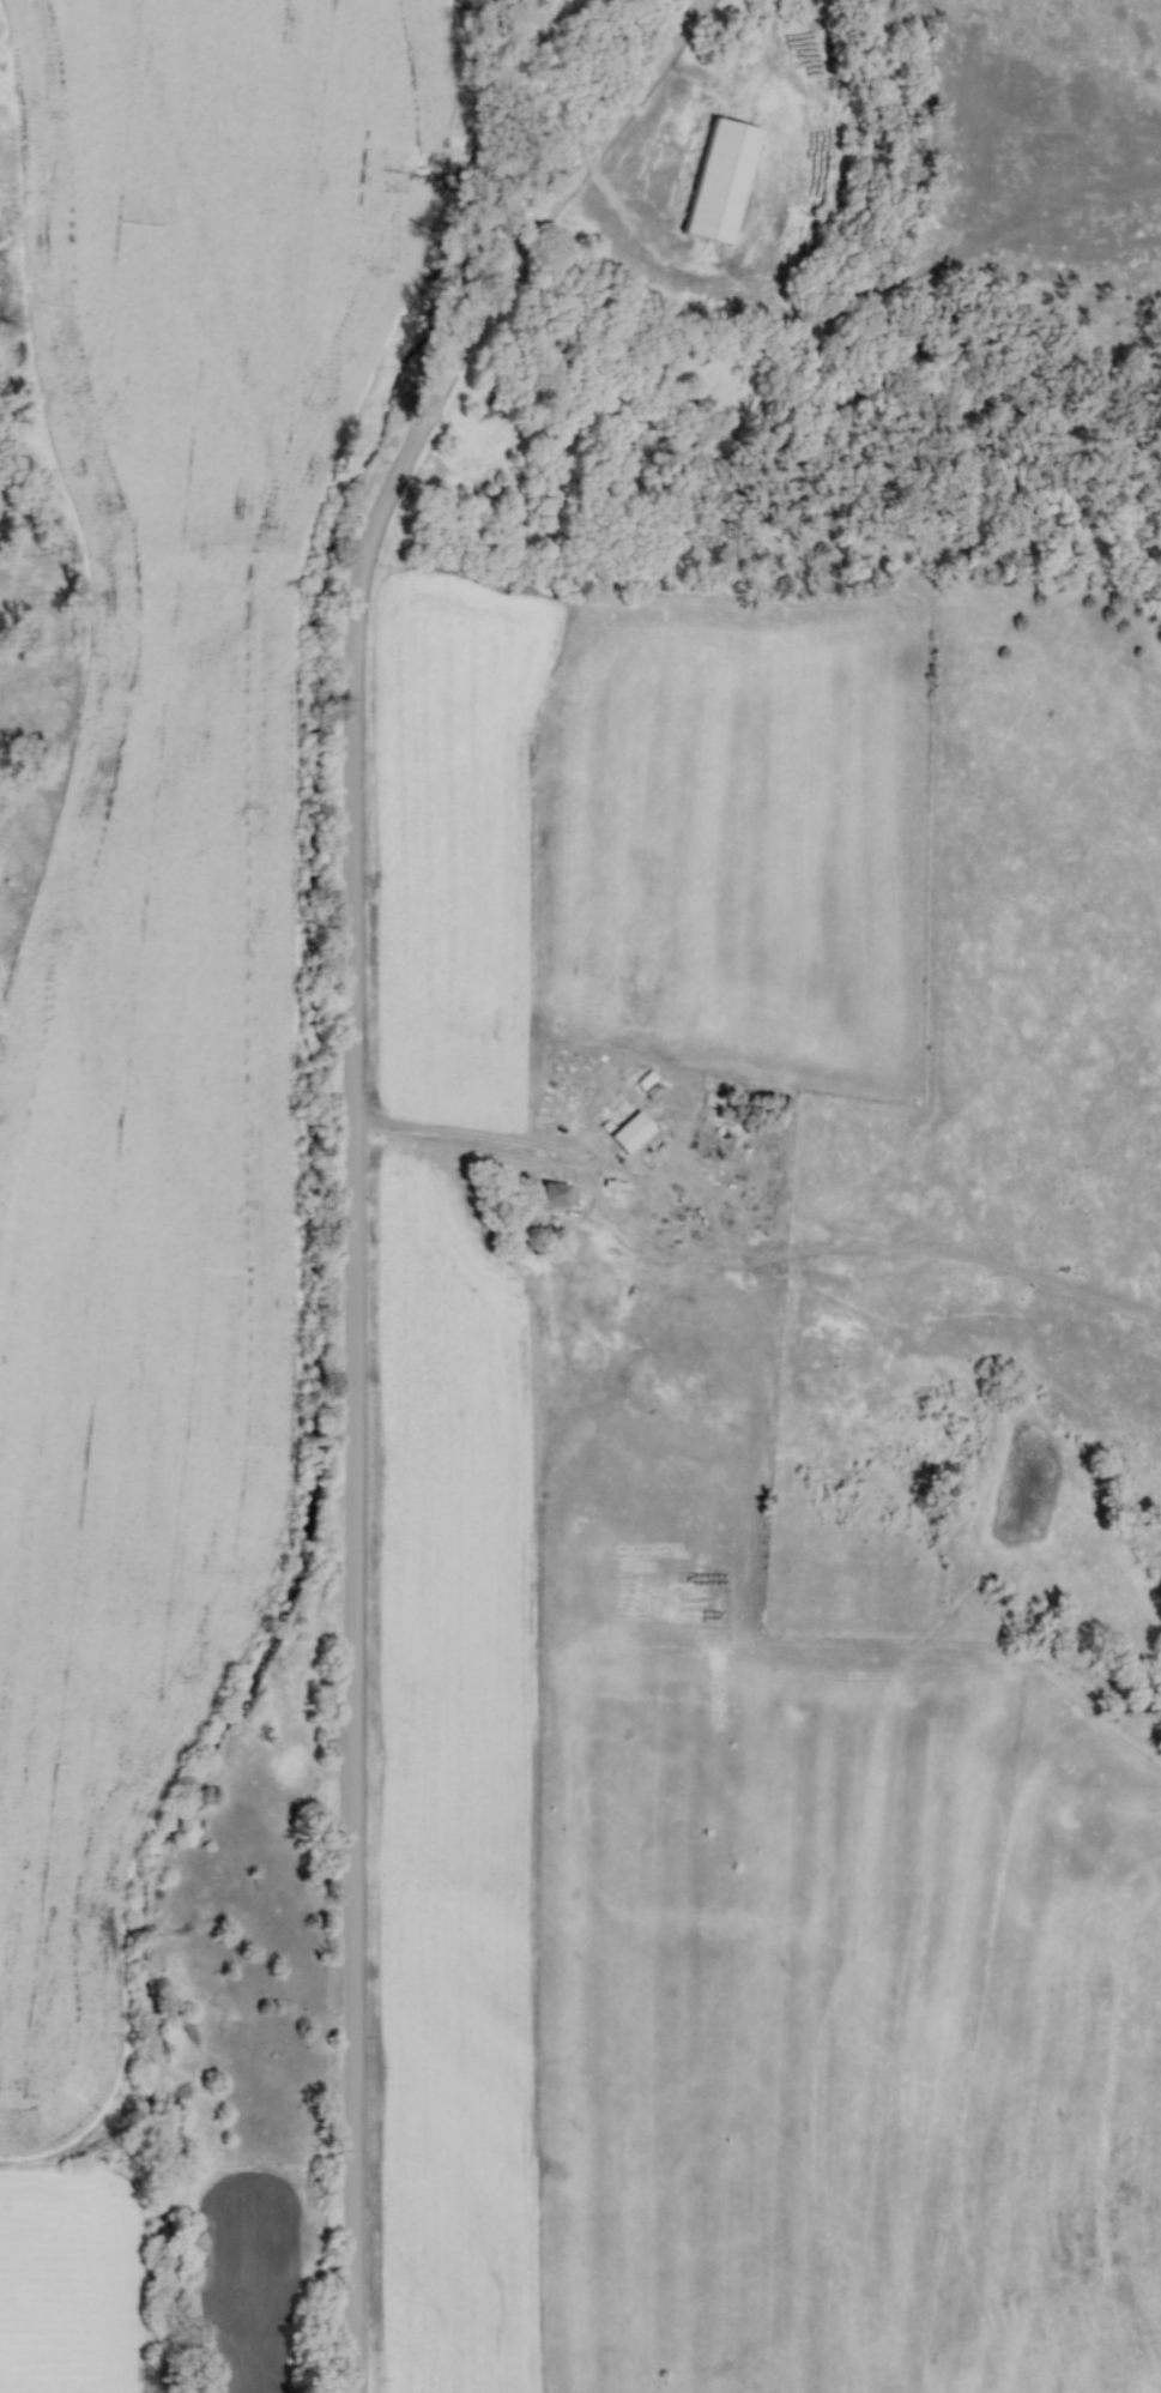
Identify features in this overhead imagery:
building: (715, 182)
building: (629, 1132)
road: (358, 1146)
road: (490, 1147)
building: (552, 1193)

